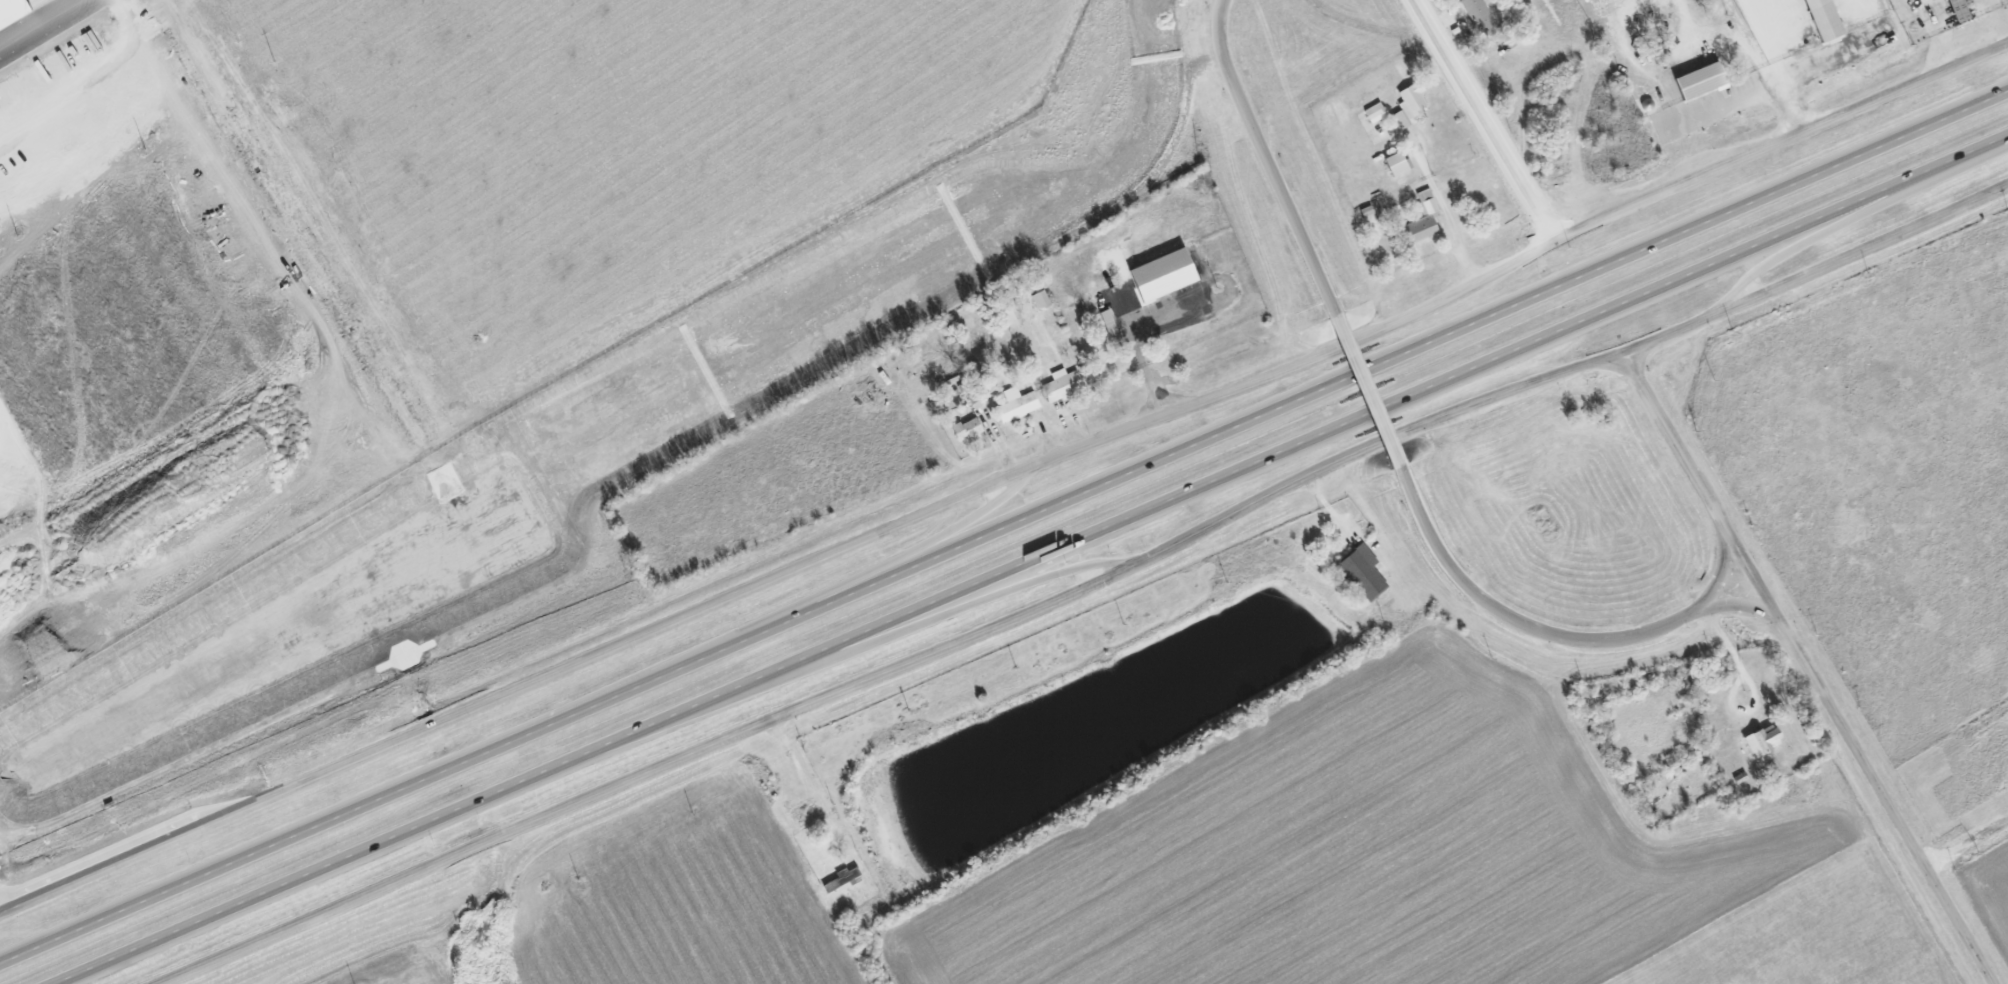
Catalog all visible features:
building: (1919, 1)
building: (1476, 14)
building: (1819, 19)
road: (1775, 66)
building: (1696, 81)
building: (1406, 105)
building: (1373, 113)
road: (1487, 120)
road: (1782, 141)
road: (33, 148)
road: (1265, 158)
building: (1393, 164)
road: (1444, 215)
building: (1422, 218)
road: (1844, 220)
road: (1815, 273)
building: (1158, 276)
building: (1037, 299)
building: (1107, 324)
road: (1146, 364)
road: (1356, 375)
building: (1061, 385)
road: (1367, 390)
building: (1015, 405)
road: (1372, 414)
building: (965, 430)
building: (1360, 572)
road: (870, 576)
road: (779, 577)
road: (1743, 608)
road: (935, 620)
road: (1554, 635)
road: (1808, 668)
road: (896, 671)
road: (1749, 681)
building: (1760, 741)
road: (809, 785)
road: (352, 813)
road: (400, 837)
road: (1967, 845)

